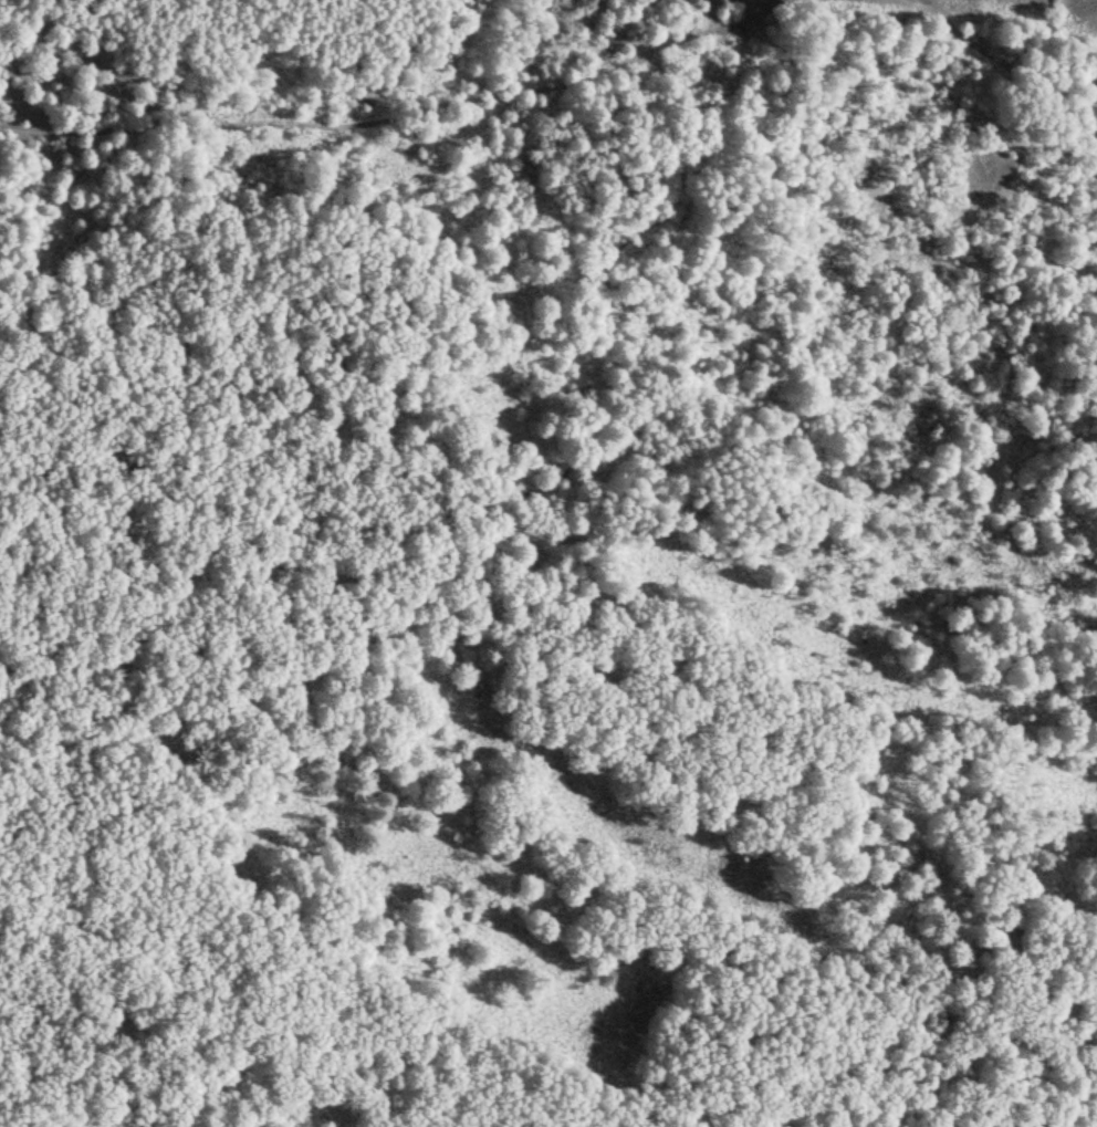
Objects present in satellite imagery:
road: (953, 29)
road: (354, 124)
road: (553, 455)

